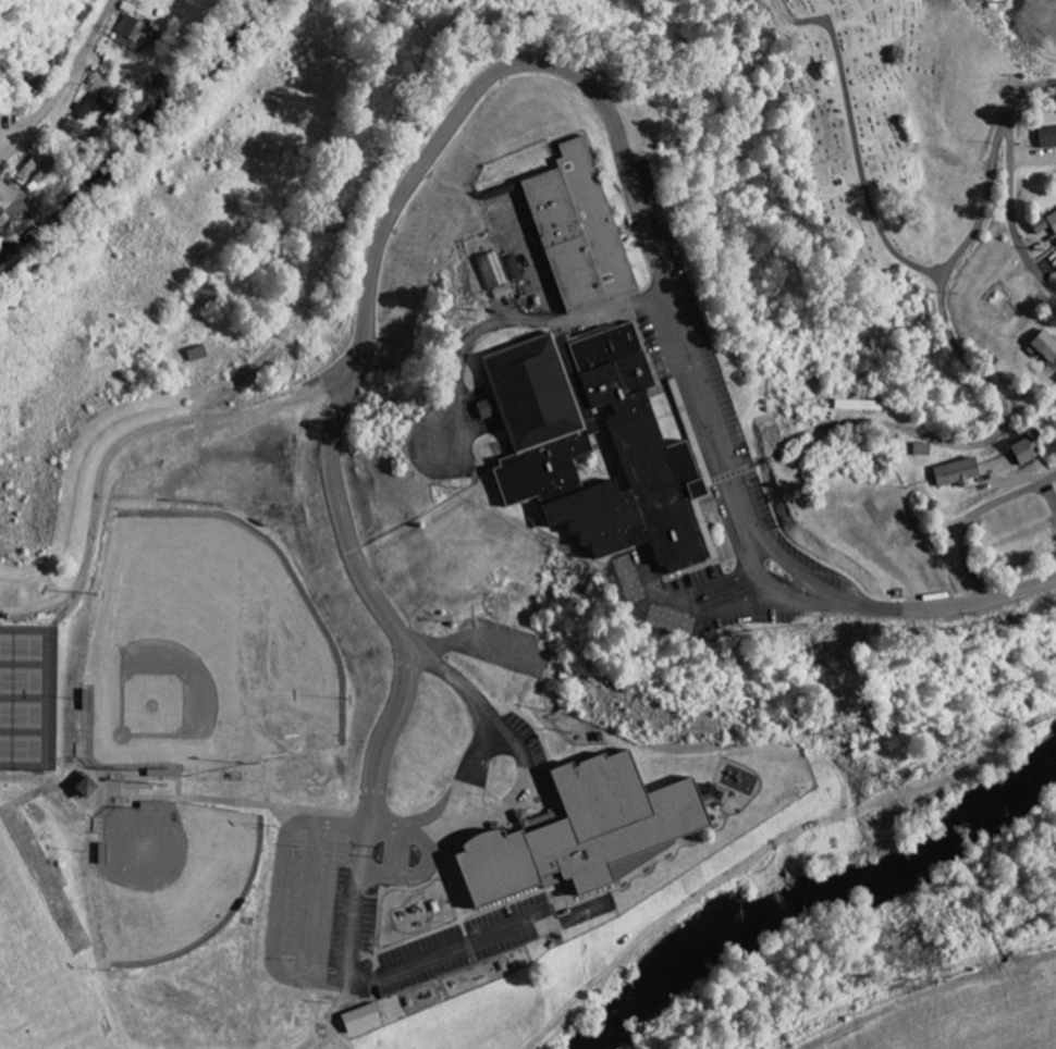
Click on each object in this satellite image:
building: (84, 8)
building: (136, 33)
road: (64, 85)
building: (89, 107)
park: (881, 128)
building: (71, 129)
building: (1045, 137)
road: (1011, 207)
building: (2, 219)
building: (1042, 222)
building: (572, 230)
building: (1055, 261)
road: (942, 287)
building: (1034, 345)
building: (194, 354)
building: (1055, 378)
building: (852, 405)
building: (586, 444)
building: (914, 449)
building: (1015, 451)
building: (947, 472)
road: (975, 518)
road: (943, 610)
building: (161, 774)
building: (79, 787)
building: (580, 830)
river: (815, 891)
building: (355, 1020)

